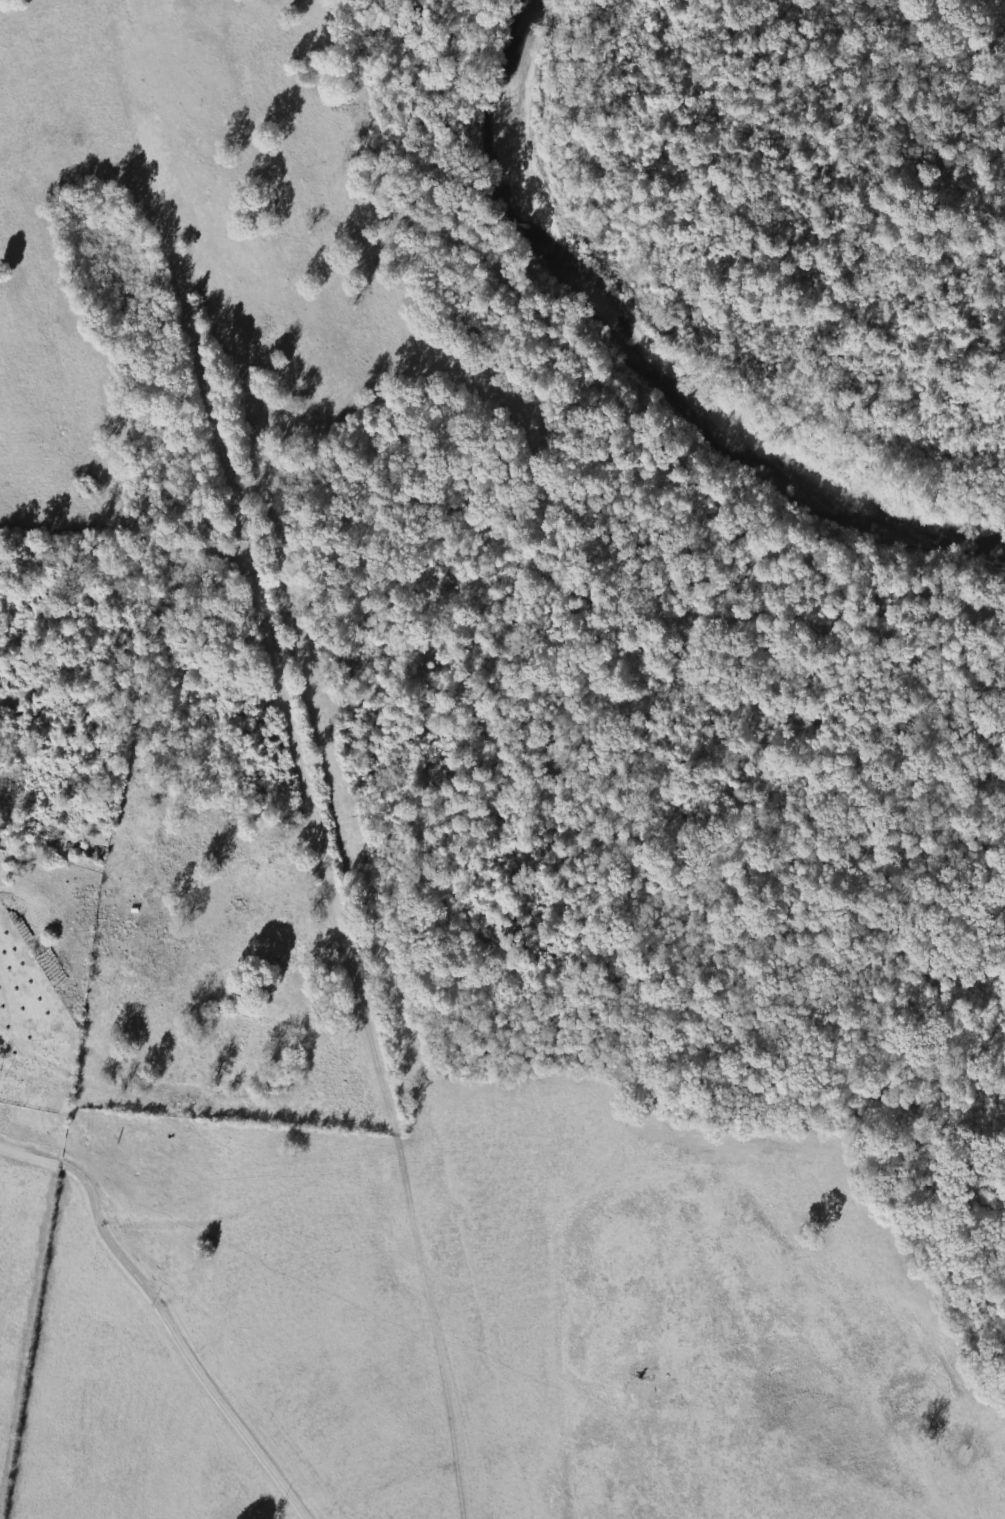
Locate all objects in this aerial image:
road: (163, 1315)

